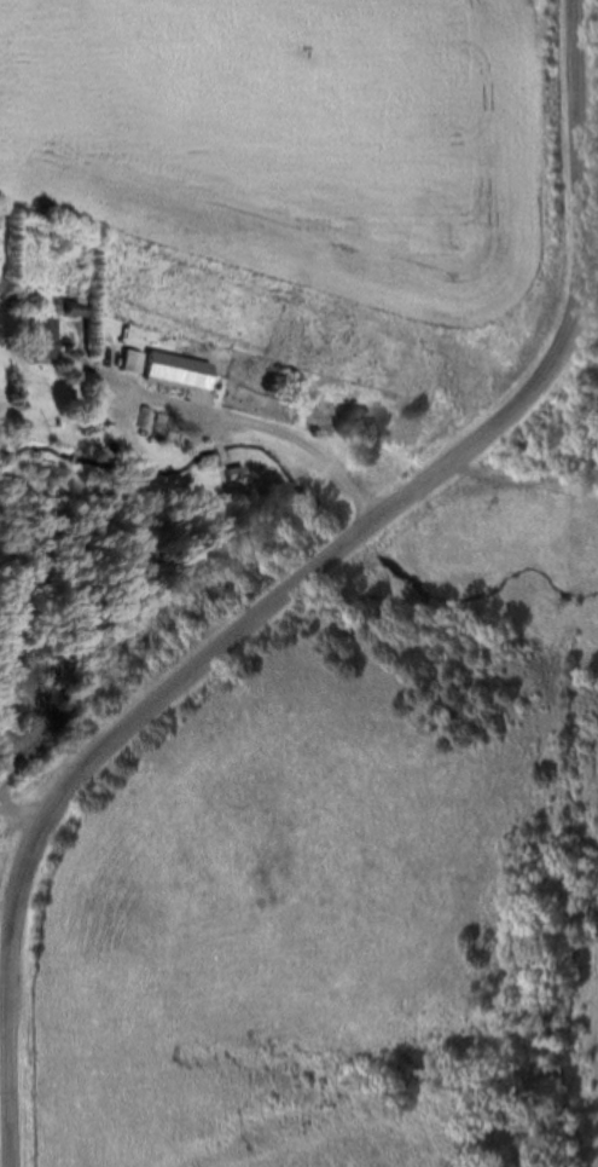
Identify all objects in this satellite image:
building: (18, 301)
building: (81, 310)
building: (48, 340)
building: (138, 362)
building: (184, 371)
building: (39, 379)
road: (231, 417)
road: (295, 583)

